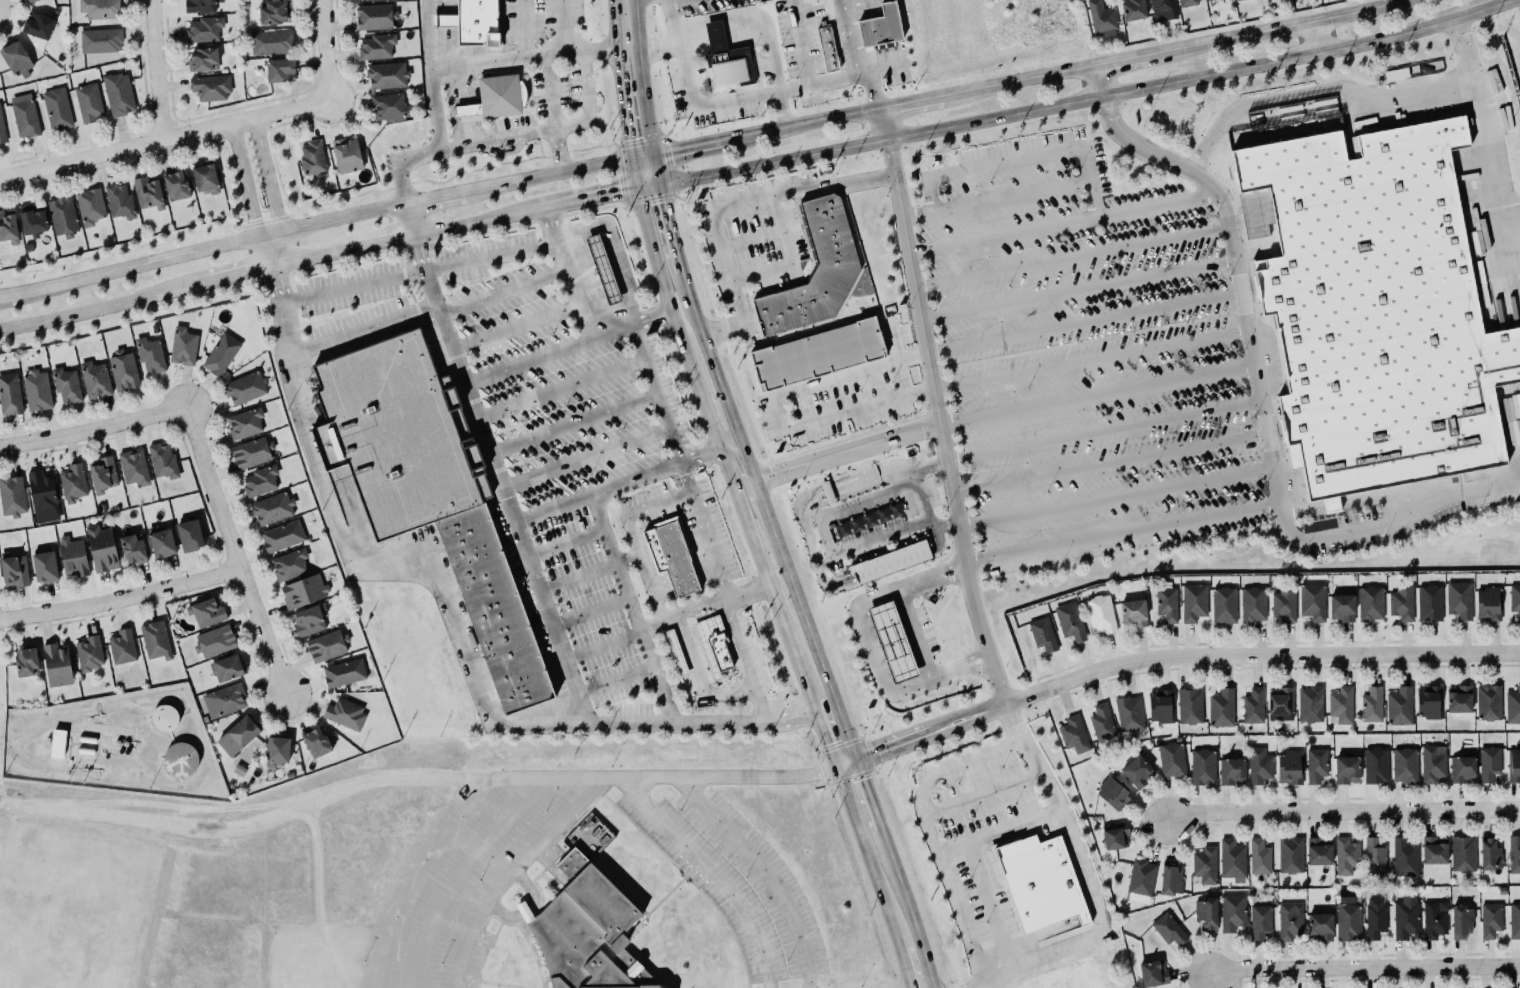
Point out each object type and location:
building: (32, 0)
building: (1210, 0)
building: (1237, 0)
building: (1187, 2)
building: (201, 5)
road: (1483, 8)
building: (100, 9)
building: (1133, 9)
building: (1163, 9)
building: (272, 11)
building: (375, 16)
building: (1102, 18)
building: (444, 20)
building: (476, 22)
road: (751, 23)
building: (37, 25)
building: (878, 26)
road: (560, 28)
building: (204, 29)
road: (522, 30)
road: (445, 34)
road: (616, 37)
road: (1314, 37)
building: (101, 40)
road: (674, 41)
building: (271, 42)
building: (375, 45)
building: (826, 47)
road: (323, 49)
road: (1173, 49)
building: (16, 58)
building: (203, 59)
road: (522, 59)
road: (850, 61)
building: (729, 65)
road: (887, 66)
road: (153, 69)
building: (279, 70)
building: (386, 74)
road: (428, 75)
road: (641, 78)
road: (1098, 81)
road: (1173, 81)
building: (210, 86)
road: (1315, 93)
building: (118, 94)
building: (499, 94)
building: (88, 101)
road: (910, 103)
road: (702, 104)
building: (388, 105)
road: (467, 105)
building: (57, 109)
road: (781, 109)
building: (24, 114)
road: (551, 117)
road: (1490, 120)
road: (882, 124)
road: (800, 125)
building: (1, 128)
road: (627, 132)
road: (162, 136)
road: (498, 139)
road: (851, 147)
road: (677, 151)
building: (345, 154)
traffic signals: (654, 156)
building: (312, 158)
road: (1022, 160)
traffic signals: (633, 161)
road: (738, 169)
road: (553, 177)
building: (205, 179)
building: (176, 185)
traffic signals: (660, 185)
road: (649, 188)
road: (268, 191)
traffic signals: (638, 191)
building: (147, 192)
road: (803, 193)
road: (245, 196)
road: (601, 198)
road: (994, 200)
building: (119, 201)
road: (439, 202)
building: (90, 206)
road: (664, 206)
building: (62, 215)
building: (32, 220)
road: (488, 221)
road: (409, 223)
road: (1061, 224)
building: (8, 228)
road: (753, 239)
road: (382, 243)
road: (211, 250)
road: (614, 255)
road: (312, 258)
road: (1070, 258)
road: (789, 260)
road: (679, 263)
building: (603, 271)
building: (816, 272)
road: (418, 273)
road: (235, 276)
road: (733, 278)
road: (684, 279)
road: (1077, 290)
road: (502, 293)
road: (9, 297)
road: (99, 309)
building: (1375, 309)
road: (583, 312)
road: (1083, 324)
road: (515, 328)
road: (725, 331)
road: (363, 332)
road: (1086, 342)
building: (183, 346)
building: (219, 353)
building: (150, 354)
building: (817, 354)
road: (894, 355)
road: (1090, 360)
road: (528, 361)
building: (122, 370)
road: (848, 375)
building: (95, 380)
building: (65, 384)
building: (243, 386)
road: (718, 386)
road: (559, 389)
building: (35, 390)
road: (654, 393)
building: (10, 394)
road: (1261, 406)
road: (999, 413)
road: (839, 415)
building: (245, 423)
road: (938, 423)
road: (571, 424)
building: (397, 430)
road: (93, 431)
road: (1103, 431)
road: (719, 447)
building: (250, 451)
road: (313, 454)
road: (700, 455)
road: (584, 459)
building: (163, 461)
road: (738, 463)
road: (1109, 464)
road: (929, 466)
building: (134, 467)
building: (101, 473)
building: (260, 480)
road: (498, 481)
building: (73, 483)
building: (42, 492)
road: (596, 492)
road: (754, 492)
building: (827, 492)
building: (11, 495)
road: (1116, 498)
road: (920, 500)
building: (272, 508)
road: (942, 524)
road: (704, 530)
road: (1122, 533)
building: (188, 535)
building: (282, 536)
road: (631, 536)
building: (162, 542)
road: (564, 543)
building: (102, 548)
building: (131, 548)
road: (226, 556)
building: (73, 557)
building: (670, 557)
road: (627, 560)
building: (890, 560)
building: (288, 563)
building: (44, 567)
building: (13, 570)
road: (576, 577)
road: (683, 578)
building: (302, 590)
building: (1460, 599)
building: (1515, 599)
building: (1400, 601)
road: (116, 602)
building: (489, 602)
building: (1313, 602)
building: (1193, 603)
building: (1370, 603)
building: (1430, 603)
building: (1488, 603)
building: (1167, 604)
building: (1253, 604)
building: (1284, 604)
building: (1224, 605)
road: (703, 606)
building: (1341, 607)
road: (631, 609)
building: (206, 611)
building: (1099, 613)
building: (1133, 613)
building: (307, 619)
building: (1070, 622)
road: (806, 630)
road: (917, 633)
building: (1043, 635)
building: (153, 637)
building: (214, 641)
road: (867, 642)
building: (893, 643)
building: (325, 644)
building: (122, 646)
road: (601, 647)
building: (718, 652)
building: (89, 653)
building: (677, 656)
road: (1168, 657)
building: (24, 662)
road: (744, 662)
building: (55, 664)
building: (228, 667)
building: (343, 672)
road: (697, 677)
road: (613, 681)
building: (224, 700)
building: (1459, 700)
building: (1281, 702)
building: (1429, 703)
building: (1489, 703)
building: (1310, 705)
building: (1372, 705)
building: (1189, 706)
building: (1342, 706)
building: (1253, 707)
building: (1399, 707)
building: (1512, 707)
building: (1162, 708)
building: (1221, 708)
building: (344, 713)
building: (1129, 713)
building: (164, 718)
building: (1102, 723)
road: (566, 725)
road: (822, 733)
building: (238, 735)
building: (1074, 736)
building: (316, 742)
building: (58, 743)
road: (4, 746)
road: (8, 747)
building: (275, 750)
building: (181, 760)
building: (1172, 760)
building: (1488, 762)
building: (1433, 763)
building: (1259, 765)
building: (1316, 765)
building: (1376, 765)
building: (1403, 765)
building: (1514, 765)
building: (1201, 766)
building: (1288, 767)
building: (1461, 768)
building: (1347, 769)
building: (1137, 771)
building: (1232, 771)
road: (413, 779)
building: (1113, 791)
road: (867, 794)
road: (982, 794)
road: (1342, 811)
road: (928, 830)
building: (1113, 832)
road: (863, 845)
building: (1461, 848)
building: (1486, 849)
building: (1433, 850)
building: (1317, 851)
road: (955, 852)
building: (1289, 854)
building: (1514, 854)
building: (1346, 855)
building: (1259, 856)
building: (1375, 856)
building: (1405, 857)
building: (1232, 858)
road: (978, 864)
building: (1205, 865)
road: (460, 871)
road: (511, 872)
road: (415, 873)
road: (711, 873)
road: (763, 874)
building: (1141, 877)
building: (1039, 880)
building: (1169, 880)
road: (1086, 882)
road: (315, 897)
road: (908, 907)
road: (527, 910)
building: (1233, 912)
building: (1207, 913)
building: (1488, 915)
building: (1374, 917)
building: (1406, 917)
building: (1459, 917)
building: (1287, 918)
building: (1435, 919)
building: (1514, 920)
building: (1260, 922)
building: (1348, 922)
building: (1320, 926)
building: (1167, 929)
building: (586, 932)
road: (355, 955)
road: (278, 956)
road: (901, 956)
road: (1363, 968)
building: (1152, 973)

